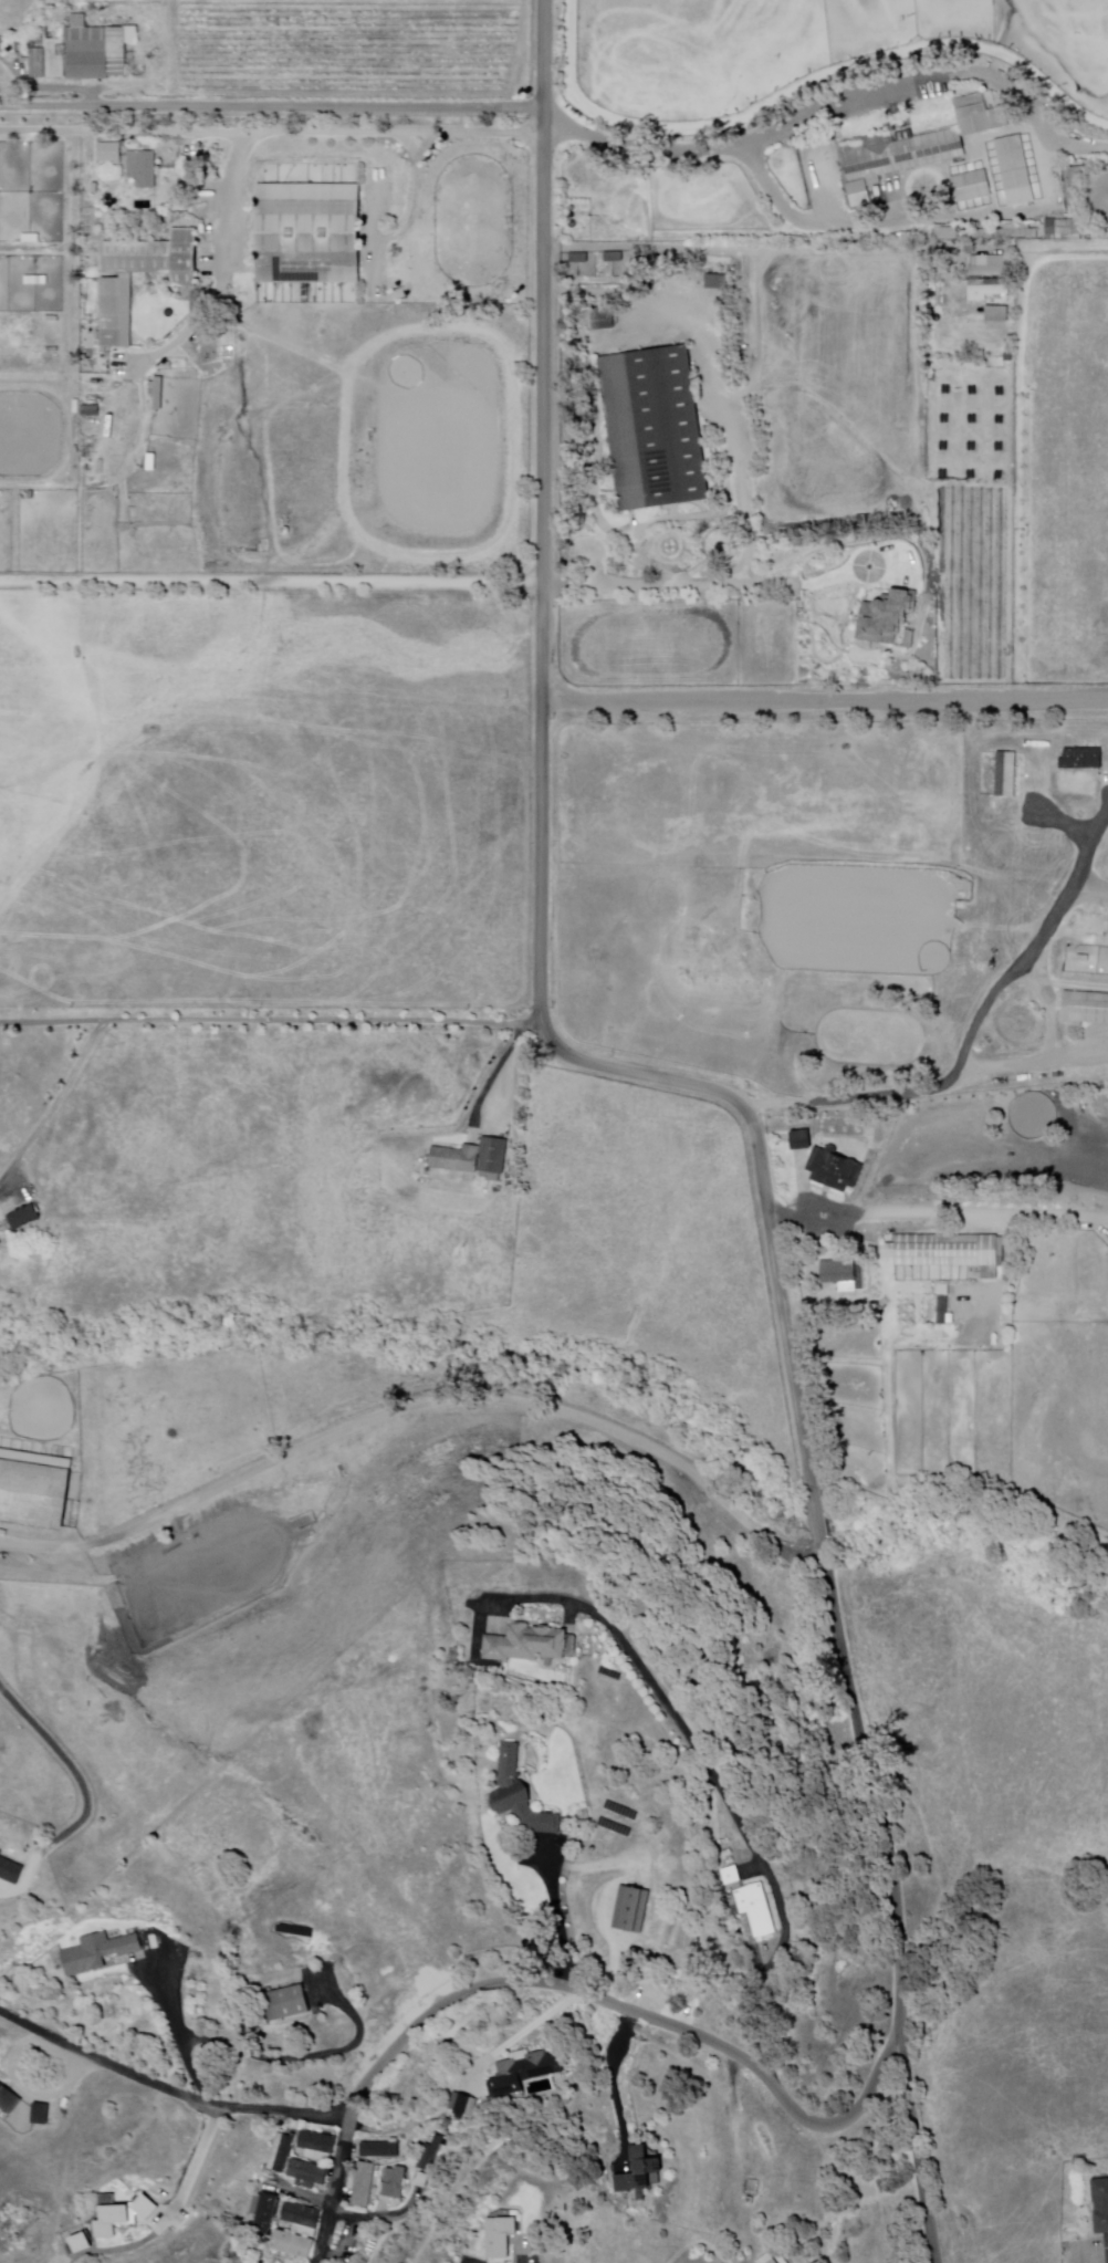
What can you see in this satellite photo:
building: (86, 53)
road: (836, 102)
road: (272, 106)
road: (272, 133)
building: (918, 144)
storage tank: (202, 147)
building: (112, 153)
storage tank: (202, 155)
building: (144, 169)
building: (1015, 171)
building: (972, 187)
building: (1072, 190)
building: (856, 195)
road: (418, 197)
building: (1063, 228)
building: (1016, 232)
building: (312, 234)
road: (778, 249)
building: (158, 258)
building: (991, 267)
road: (220, 270)
building: (715, 281)
building: (985, 293)
building: (117, 312)
building: (602, 319)
building: (106, 380)
building: (945, 390)
building: (972, 390)
building: (1000, 390)
building: (160, 394)
building: (137, 400)
building: (93, 411)
building: (971, 418)
building: (944, 419)
building: (999, 419)
building: (654, 428)
building: (971, 446)
building: (943, 447)
building: (999, 447)
building: (970, 473)
building: (942, 474)
building: (997, 476)
road: (746, 508)
storage tank: (288, 532)
road: (273, 578)
road: (807, 582)
building: (884, 616)
building: (908, 639)
road: (825, 698)
building: (1081, 758)
building: (1005, 774)
road: (542, 815)
building: (1081, 959)
building: (1084, 1009)
road: (271, 1021)
road: (971, 1039)
road: (501, 1068)
building: (1041, 1098)
road: (58, 1107)
building: (797, 1141)
building: (496, 1156)
building: (458, 1159)
building: (1102, 1161)
building: (832, 1170)
road: (926, 1213)
building: (27, 1218)
building: (948, 1252)
building: (836, 1273)
building: (941, 1312)
building: (1033, 1321)
building: (1016, 1347)
road: (418, 1402)
building: (35, 1490)
road: (816, 1514)
building: (530, 1645)
road: (70, 1765)
road: (710, 1774)
building: (523, 1797)
storage tank: (595, 1849)
building: (11, 1870)
building: (732, 1877)
road: (900, 1900)
building: (757, 1910)
building: (635, 1911)
road: (563, 1921)
building: (101, 1952)
road: (447, 2002)
building: (289, 2004)
road: (179, 2033)
road: (525, 2034)
building: (524, 2072)
road: (616, 2084)
storage tank: (244, 2085)
building: (398, 2100)
building: (448, 2124)
building: (320, 2146)
building: (383, 2149)
building: (274, 2151)
building: (283, 2152)
building: (433, 2155)
building: (425, 2158)
building: (645, 2173)
building: (310, 2175)
building: (424, 2181)
building: (397, 2183)
building: (364, 2184)
road: (337, 2190)
building: (1099, 2205)
building: (121, 2213)
building: (265, 2213)
building: (303, 2220)
building: (502, 2240)
building: (79, 2243)
building: (293, 2244)
building: (1106, 2248)
building: (770, 2260)

